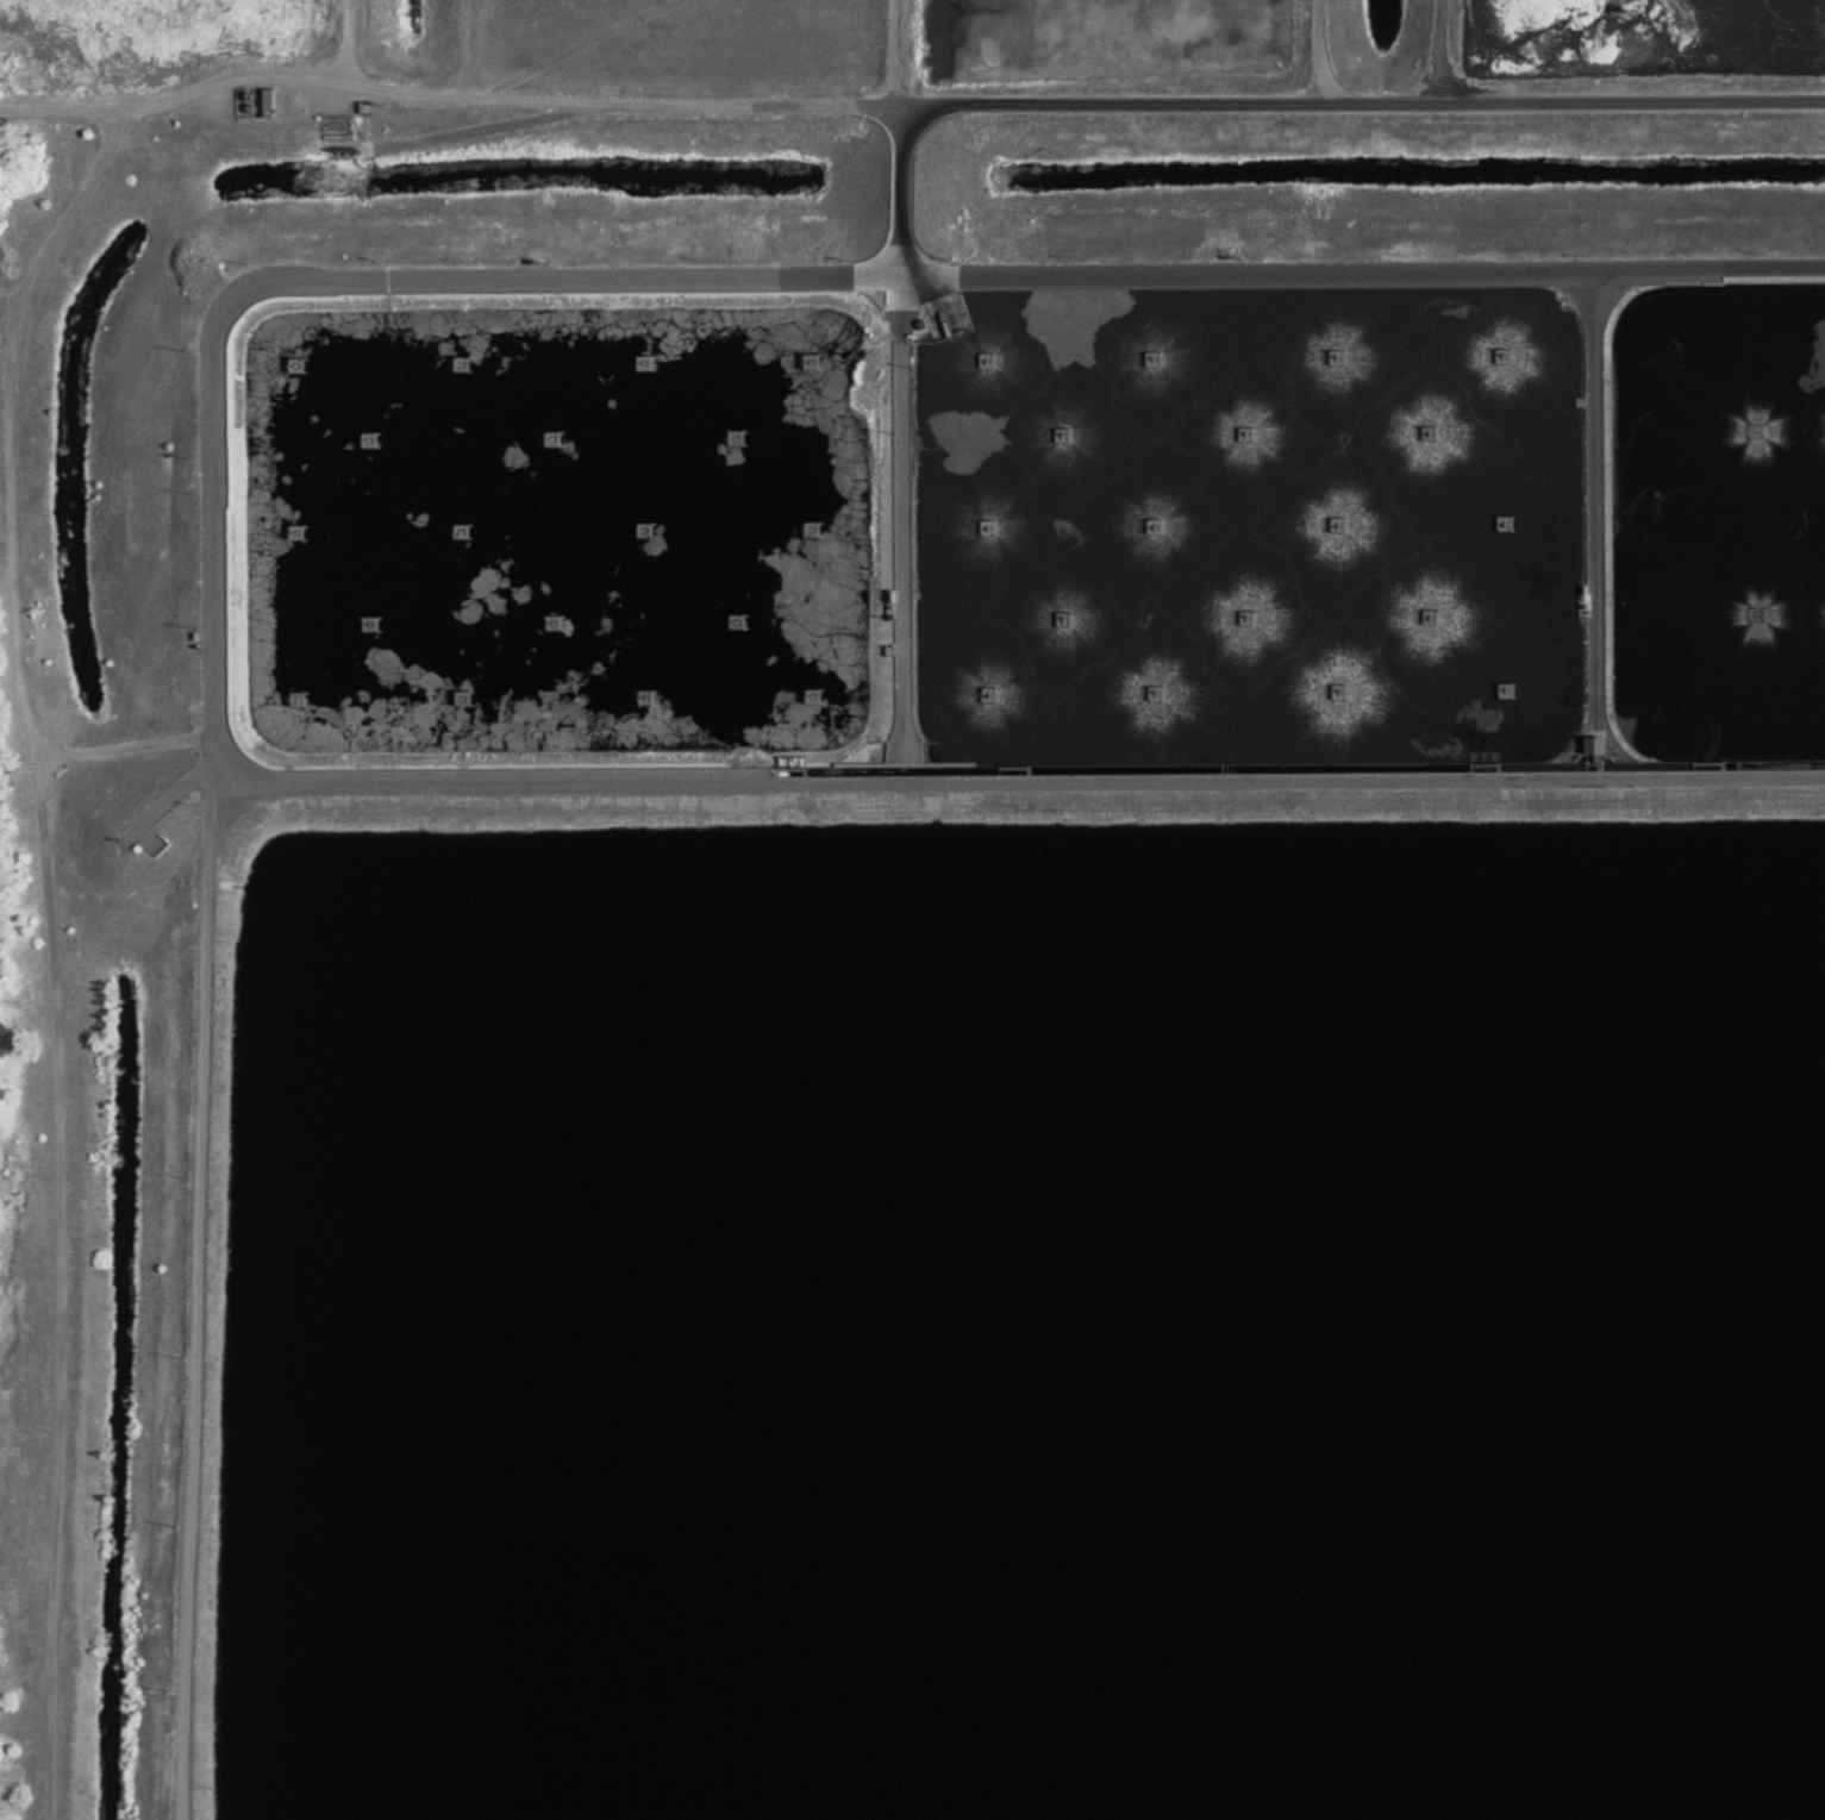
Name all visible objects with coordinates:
building: (271, 101)
road: (121, 131)
building: (1511, 355)
building: (994, 359)
building: (467, 362)
building: (1254, 433)
building: (1162, 525)
building: (651, 530)
building: (1255, 618)
building: (1071, 619)
building: (469, 698)
wastewater plant: (912, 909)
road: (202, 1300)

